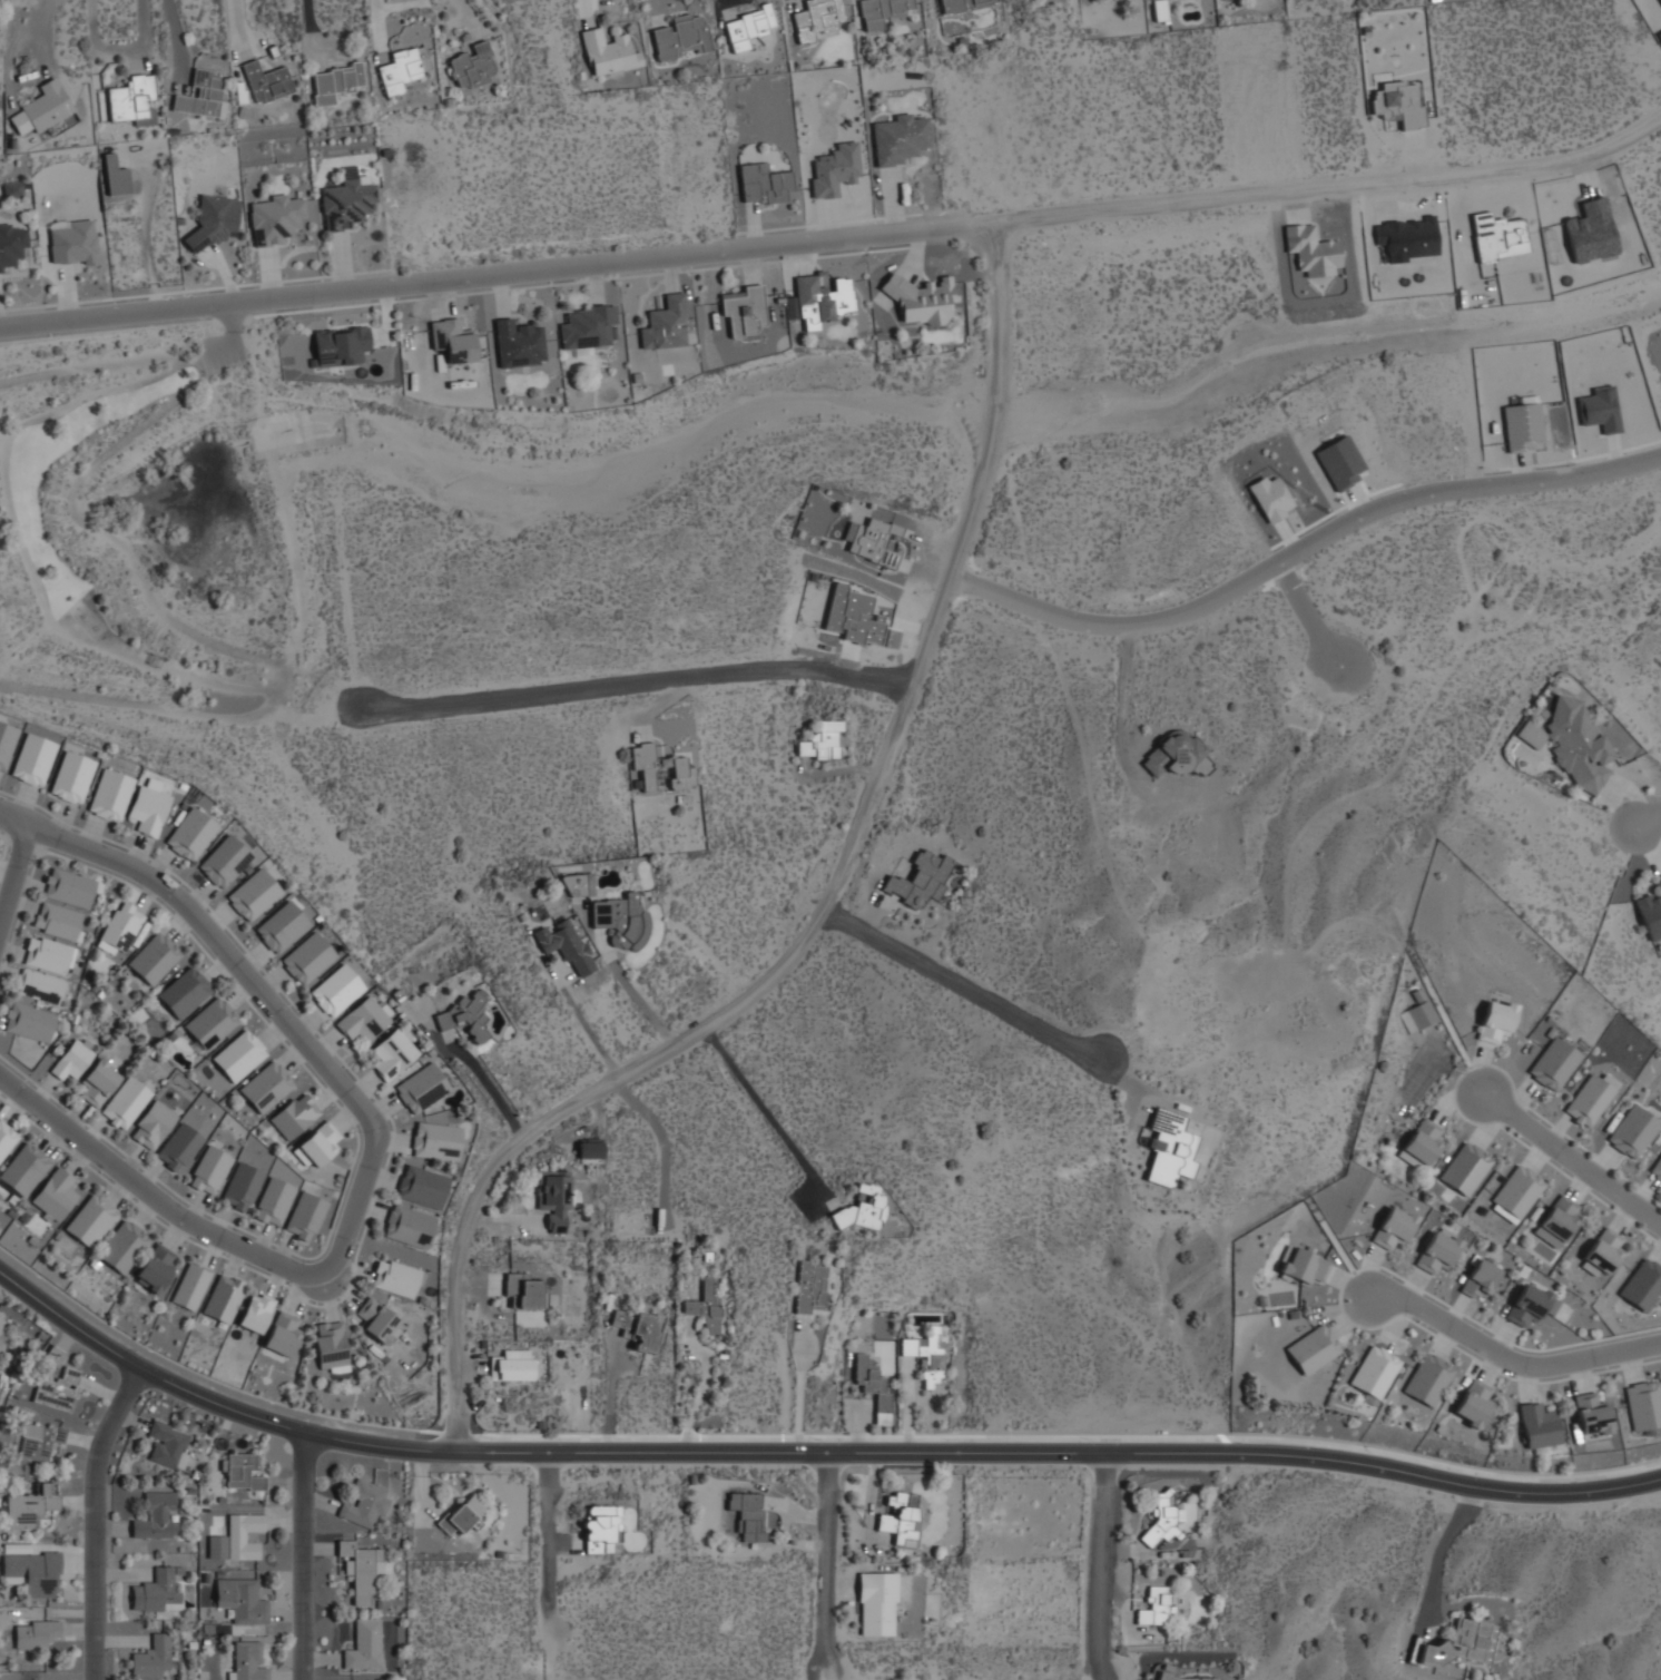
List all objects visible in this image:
building: (1660, 0)
building: (962, 4)
building: (1160, 9)
building: (881, 11)
building: (817, 18)
building: (747, 27)
building: (1660, 33)
building: (681, 36)
building: (608, 51)
building: (473, 65)
building: (404, 67)
building: (266, 80)
building: (336, 80)
building: (200, 95)
building: (134, 98)
building: (1398, 102)
building: (41, 107)
building: (898, 136)
building: (835, 169)
building: (353, 174)
building: (115, 175)
building: (763, 183)
building: (12, 187)
building: (347, 200)
building: (276, 217)
building: (216, 218)
building: (1591, 229)
building: (1498, 236)
road: (835, 238)
building: (72, 240)
building: (11, 244)
building: (1311, 250)
building: (922, 298)
building: (822, 299)
building: (744, 311)
building: (665, 323)
building: (588, 327)
building: (452, 340)
building: (518, 343)
building: (340, 344)
road: (992, 401)
building: (1601, 409)
building: (1522, 425)
building: (1340, 462)
building: (1271, 498)
building: (871, 540)
road: (1300, 551)
building: (851, 615)
road: (1309, 616)
road: (630, 686)
building: (6, 741)
building: (822, 741)
building: (1572, 741)
building: (1176, 755)
building: (32, 758)
building: (661, 765)
building: (71, 776)
building: (110, 794)
building: (148, 805)
road: (13, 822)
road: (1650, 822)
building: (190, 833)
building: (223, 861)
building: (918, 878)
building: (579, 884)
building: (68, 886)
building: (253, 893)
building: (1651, 911)
building: (57, 920)
building: (621, 920)
building: (119, 926)
building: (281, 926)
building: (566, 945)
building: (47, 953)
building: (155, 956)
building: (306, 957)
road: (965, 981)
building: (39, 985)
building: (335, 989)
building: (185, 991)
building: (1422, 1013)
building: (465, 1014)
building: (363, 1019)
building: (1496, 1020)
building: (28, 1021)
building: (209, 1022)
road: (698, 1037)
building: (392, 1053)
building: (238, 1054)
building: (71, 1059)
building: (1553, 1064)
building: (97, 1082)
building: (266, 1085)
building: (421, 1087)
building: (1591, 1098)
building: (125, 1102)
road: (764, 1108)
building: (295, 1114)
road: (367, 1116)
building: (153, 1124)
building: (1633, 1130)
building: (6, 1138)
building: (435, 1140)
building: (1422, 1143)
building: (178, 1147)
building: (315, 1147)
building: (1169, 1147)
building: (590, 1148)
road: (1573, 1159)
building: (24, 1168)
building: (1465, 1168)
building: (208, 1169)
building: (1655, 1169)
building: (421, 1185)
building: (242, 1186)
building: (1519, 1190)
building: (55, 1195)
building: (553, 1198)
building: (273, 1200)
building: (863, 1209)
building: (305, 1216)
building: (90, 1219)
building: (1557, 1221)
building: (409, 1226)
building: (1393, 1227)
building: (122, 1245)
building: (1437, 1250)
building: (1602, 1252)
building: (1304, 1265)
building: (156, 1267)
building: (394, 1276)
building: (1482, 1277)
building: (1642, 1285)
building: (190, 1286)
building: (810, 1287)
building: (523, 1290)
building: (224, 1297)
building: (705, 1305)
building: (1536, 1305)
building: (255, 1311)
building: (377, 1319)
building: (0, 1325)
building: (638, 1327)
building: (283, 1333)
building: (333, 1346)
building: (1313, 1348)
building: (925, 1353)
building: (53, 1355)
road: (1508, 1359)
building: (512, 1365)
building: (1374, 1372)
building: (1428, 1378)
building: (873, 1386)
building: (57, 1389)
building: (1474, 1402)
building: (1643, 1404)
building: (1591, 1414)
building: (1539, 1425)
building: (37, 1440)
building: (168, 1443)
road: (810, 1453)
building: (240, 1471)
building: (363, 1501)
building: (28, 1506)
building: (462, 1513)
building: (747, 1513)
building: (156, 1514)
building: (901, 1517)
road: (99, 1520)
building: (1161, 1520)
building: (601, 1526)
building: (237, 1537)
road: (548, 1541)
road: (304, 1556)
road: (828, 1562)
road: (1102, 1568)
building: (362, 1570)
building: (31, 1571)
building: (1640, 1585)
building: (156, 1590)
building: (240, 1600)
building: (877, 1603)
building: (1154, 1605)
building: (1641, 1629)
building: (36, 1632)
building: (364, 1644)
building: (1459, 1645)
building: (153, 1657)
building: (245, 1660)
building: (1643, 1668)
building: (1182, 1677)

